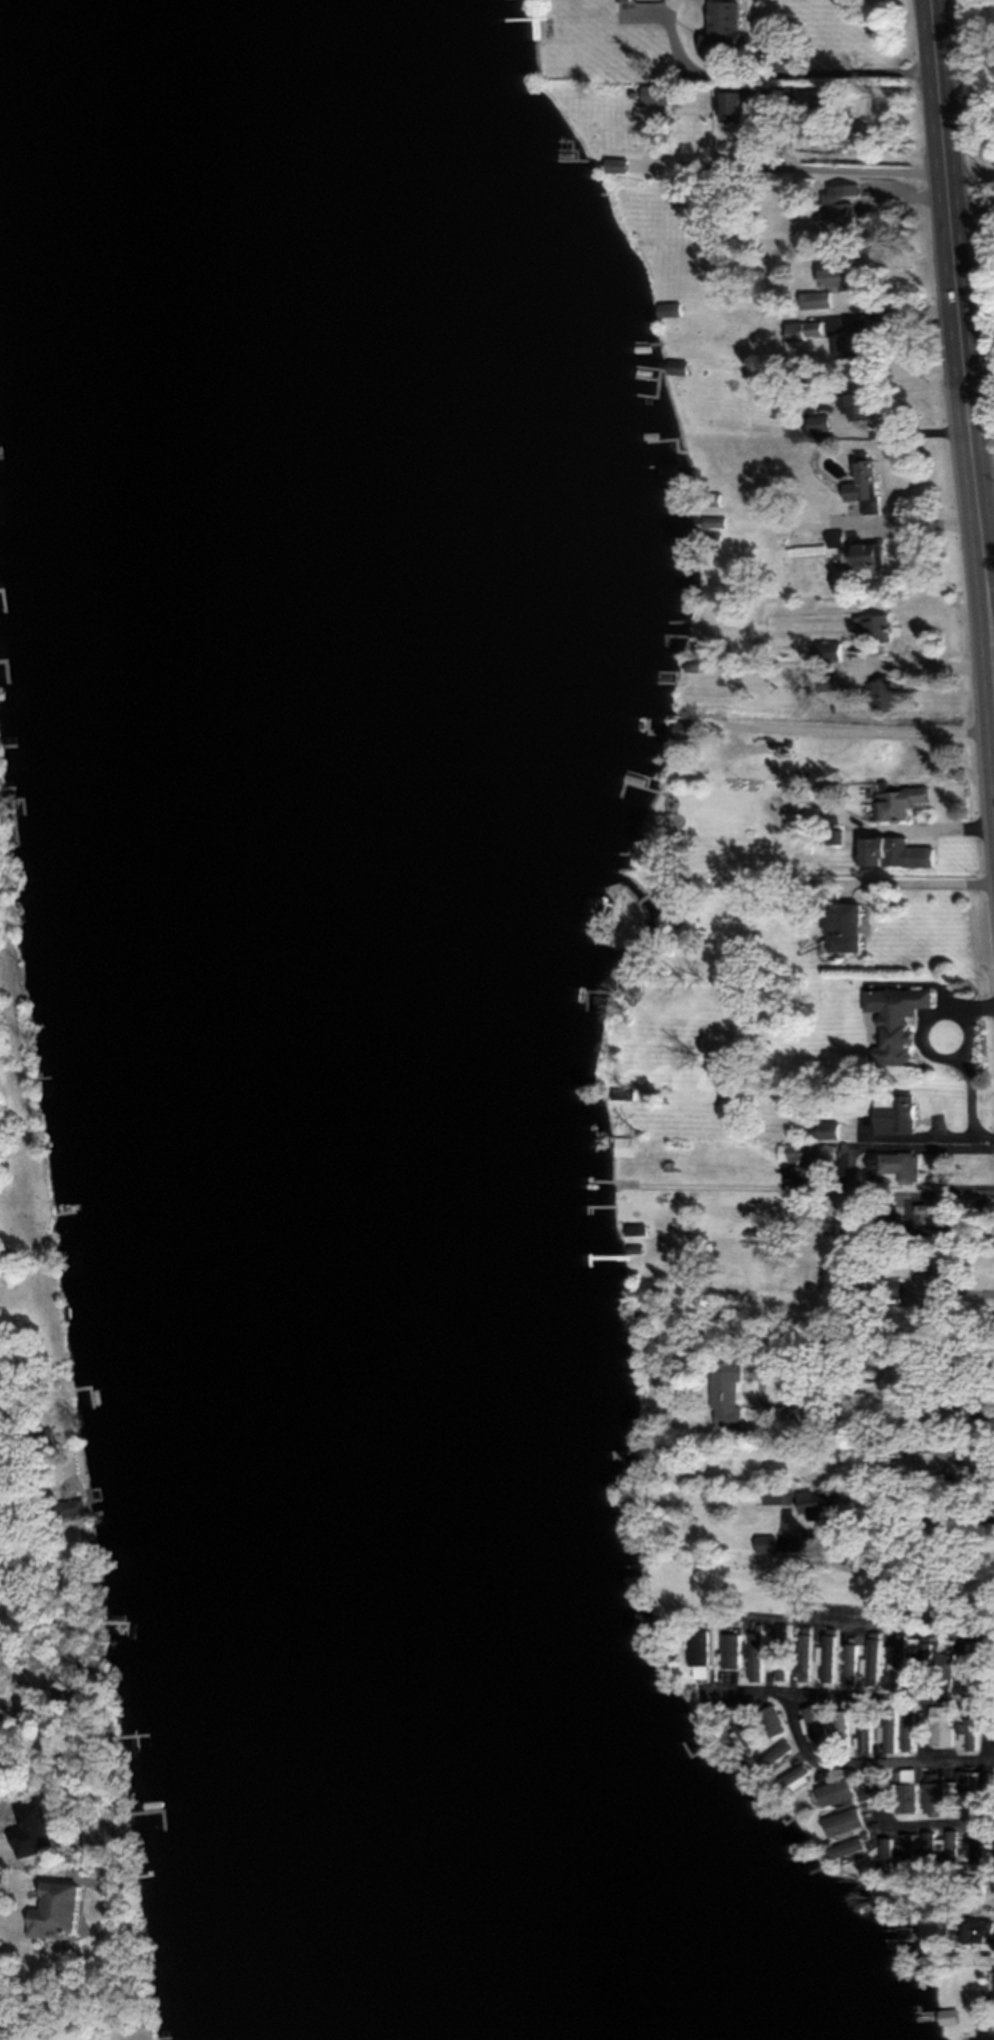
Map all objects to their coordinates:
building: (718, 25)
building: (727, 102)
road: (701, 165)
road: (855, 170)
building: (838, 206)
road: (973, 219)
park: (984, 262)
building: (850, 278)
building: (815, 299)
building: (805, 328)
road: (961, 328)
building: (853, 345)
building: (855, 403)
building: (818, 422)
building: (858, 479)
building: (862, 553)
road: (992, 621)
building: (871, 627)
building: (824, 650)
building: (824, 681)
building: (882, 694)
building: (896, 802)
building: (891, 853)
building: (841, 927)
building: (896, 1023)
river: (323, 1024)
building: (892, 1112)
building: (823, 1129)
road: (928, 1140)
building: (800, 1151)
building: (894, 1164)
building: (936, 1268)
building: (884, 1287)
building: (723, 1393)
building: (966, 1456)
building: (773, 1494)
building: (815, 1502)
building: (71, 1505)
road: (887, 1522)
building: (763, 1543)
road: (869, 1621)
building: (697, 1647)
building: (729, 1649)
building: (804, 1653)
building: (755, 1654)
building: (924, 1654)
building: (780, 1655)
building: (828, 1657)
building: (873, 1660)
building: (898, 1660)
building: (944, 1661)
building: (850, 1663)
building: (976, 1669)
road: (850, 1697)
building: (771, 1720)
building: (814, 1722)
building: (907, 1722)
building: (940, 1726)
building: (743, 1727)
building: (841, 1728)
building: (890, 1728)
building: (970, 1732)
building: (866, 1735)
building: (773, 1755)
road: (868, 1761)
building: (906, 1774)
building: (790, 1778)
building: (970, 1786)
building: (831, 1792)
building: (932, 1796)
building: (903, 1797)
building: (839, 1821)
road: (905, 1828)
building: (926, 1846)
building: (841, 1848)
building: (976, 1850)
building: (63, 1907)
building: (993, 1987)
building: (947, 2015)

